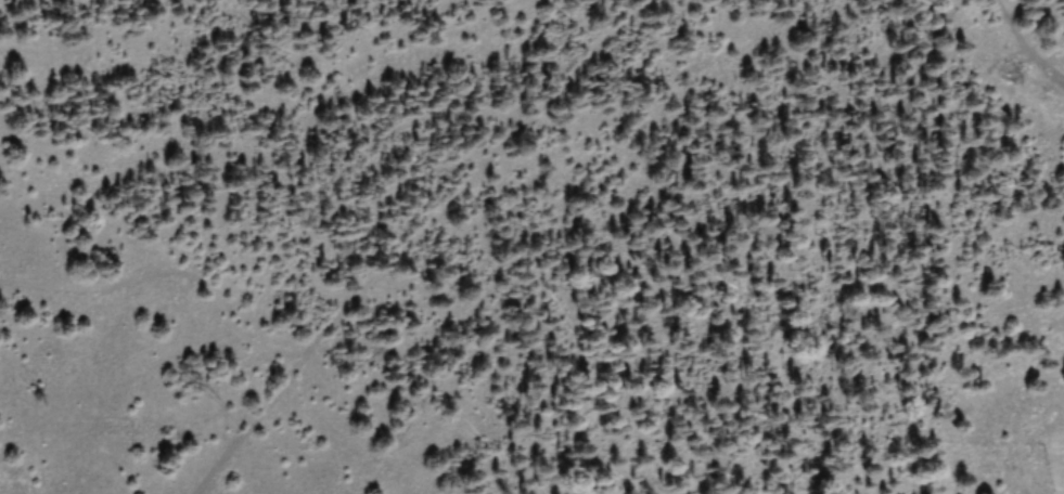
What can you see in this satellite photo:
building: (1038, 105)

